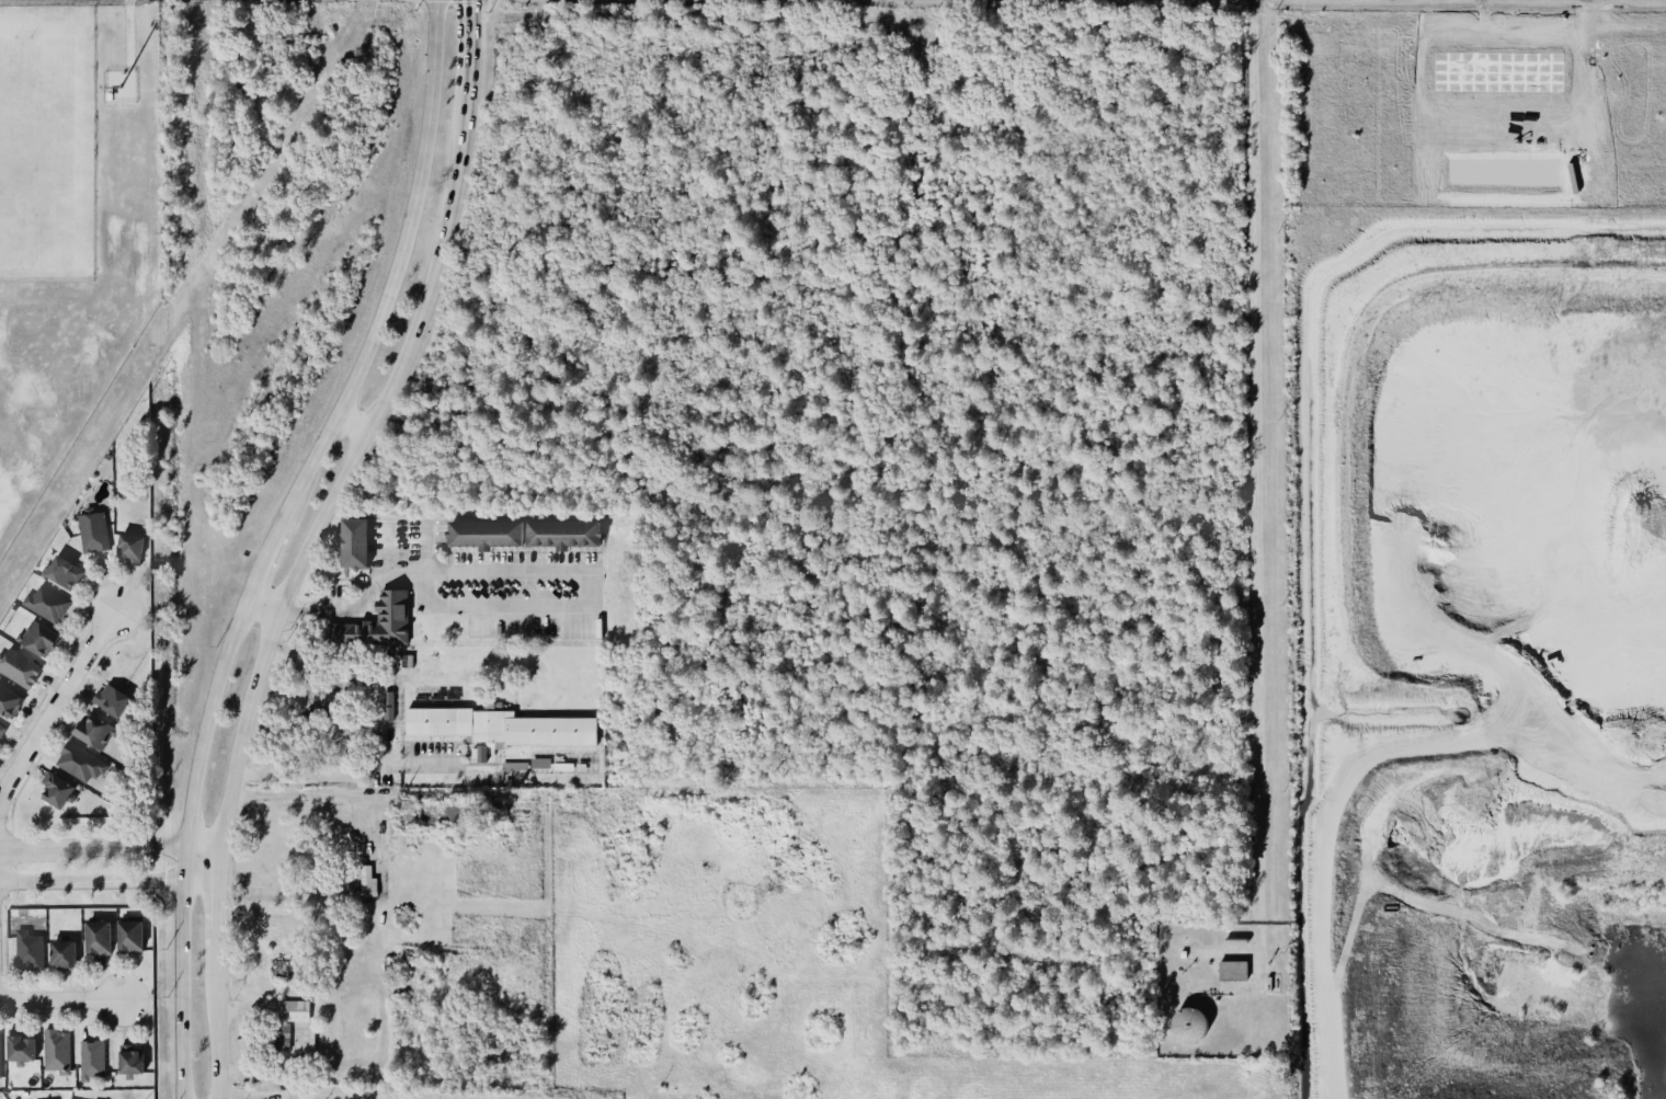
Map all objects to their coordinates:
road: (473, 34)
building: (1497, 70)
road: (426, 231)
road: (393, 277)
road: (353, 423)
road: (346, 474)
road: (1256, 485)
building: (91, 529)
building: (482, 531)
building: (562, 534)
building: (353, 540)
building: (130, 548)
road: (384, 550)
road: (263, 568)
building: (62, 571)
road: (557, 572)
building: (45, 603)
road: (261, 608)
building: (377, 623)
building: (38, 637)
landfill: (1474, 650)
building: (18, 667)
building: (112, 699)
building: (8, 701)
building: (388, 705)
road: (55, 706)
building: (501, 726)
building: (1, 728)
building: (93, 730)
road: (1405, 742)
building: (478, 753)
building: (79, 762)
road: (425, 765)
building: (514, 766)
road: (316, 775)
building: (57, 790)
road: (300, 792)
road: (111, 847)
road: (190, 847)
road: (110, 880)
road: (1362, 885)
road: (221, 913)
road: (1470, 917)
building: (128, 935)
building: (96, 937)
building: (27, 949)
building: (64, 953)
building: (285, 968)
building: (1232, 970)
wastewater plant: (1220, 987)
road: (60, 1001)
building: (295, 1010)
road: (222, 1023)
building: (1189, 1024)
building: (281, 1035)
building: (20, 1048)
building: (55, 1050)
building: (92, 1060)
building: (129, 1060)
building: (0, 1067)
building: (94, 1098)
road: (313, 1098)
road: (450, 1098)

